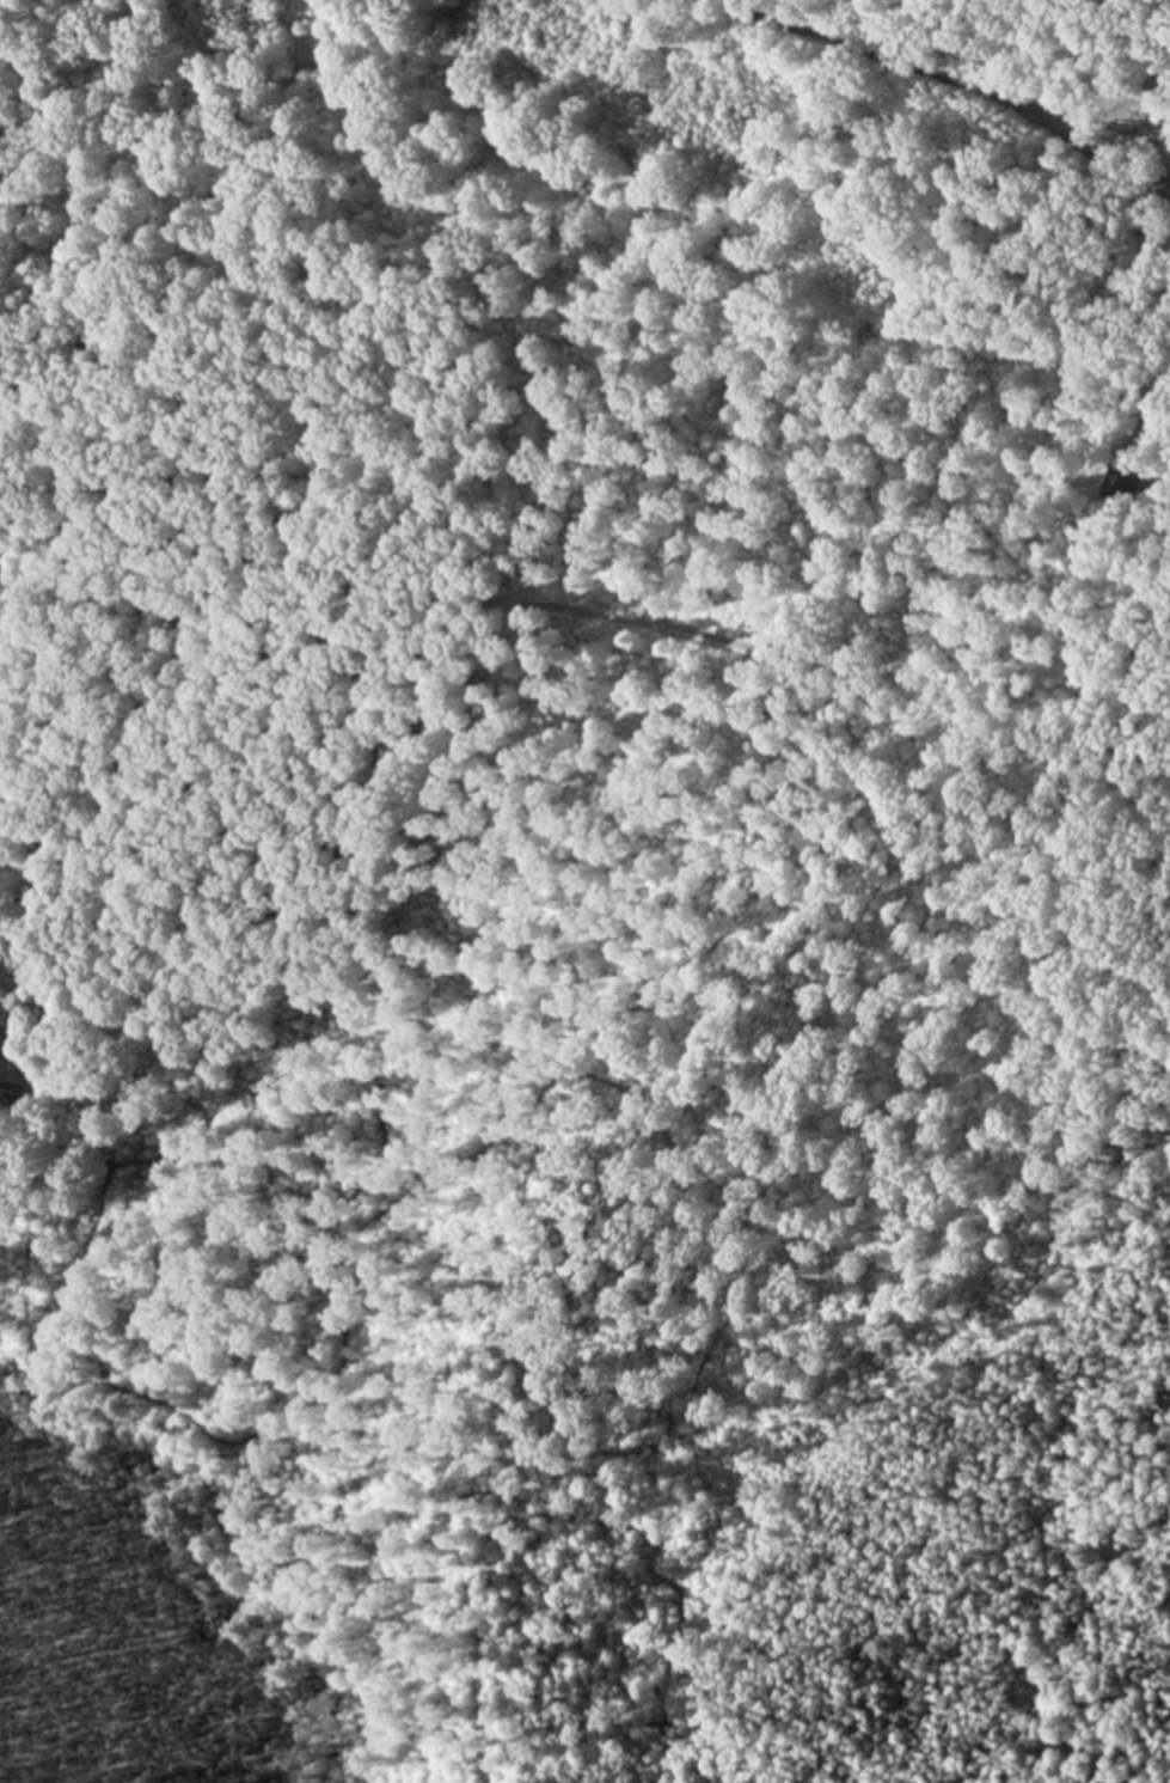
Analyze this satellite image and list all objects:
road: (1104, 132)
road: (1039, 136)

